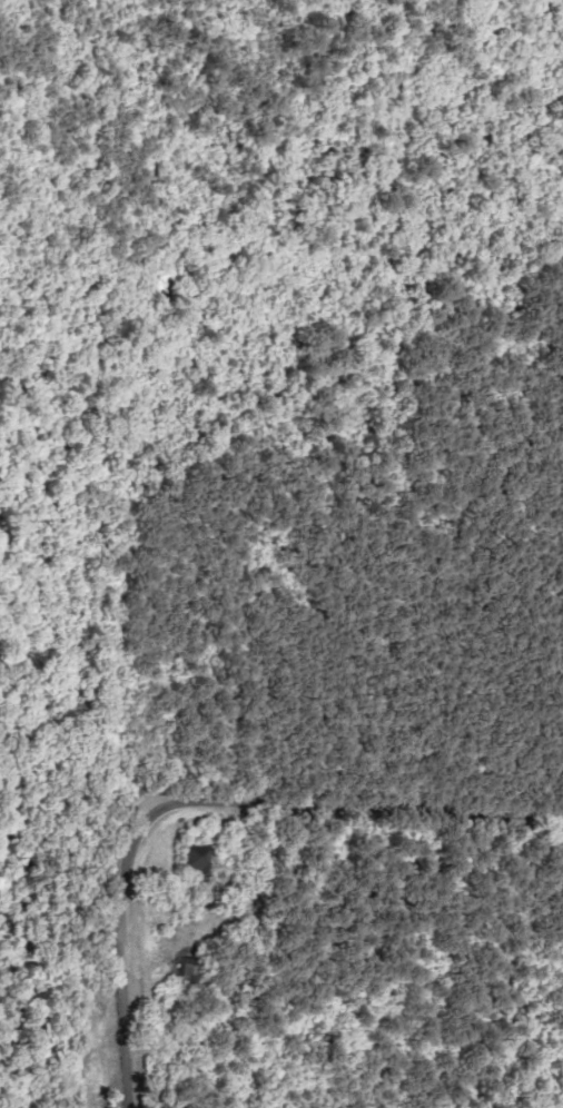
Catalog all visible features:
road: (366, 825)
building: (194, 859)
road: (158, 966)
building: (187, 972)

